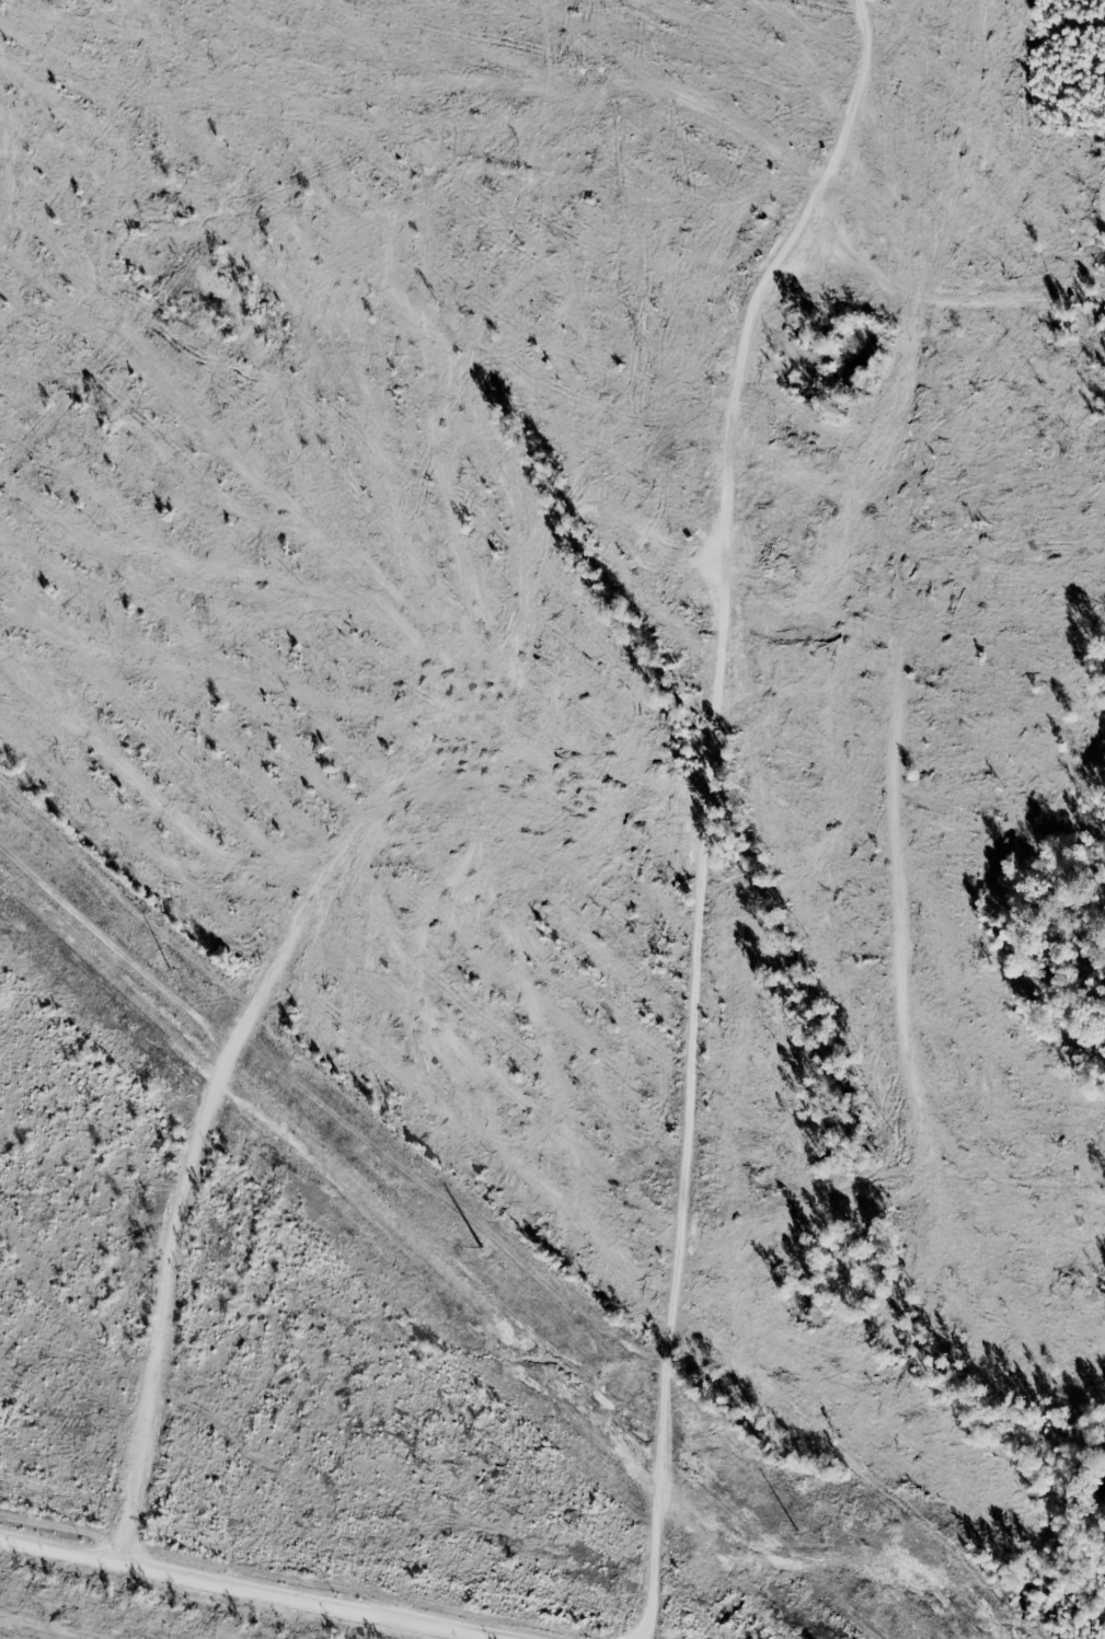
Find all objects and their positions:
road: (739, 908)
power tower: (180, 972)
power tower: (490, 1255)
power tower: (806, 1536)
road: (295, 1582)

